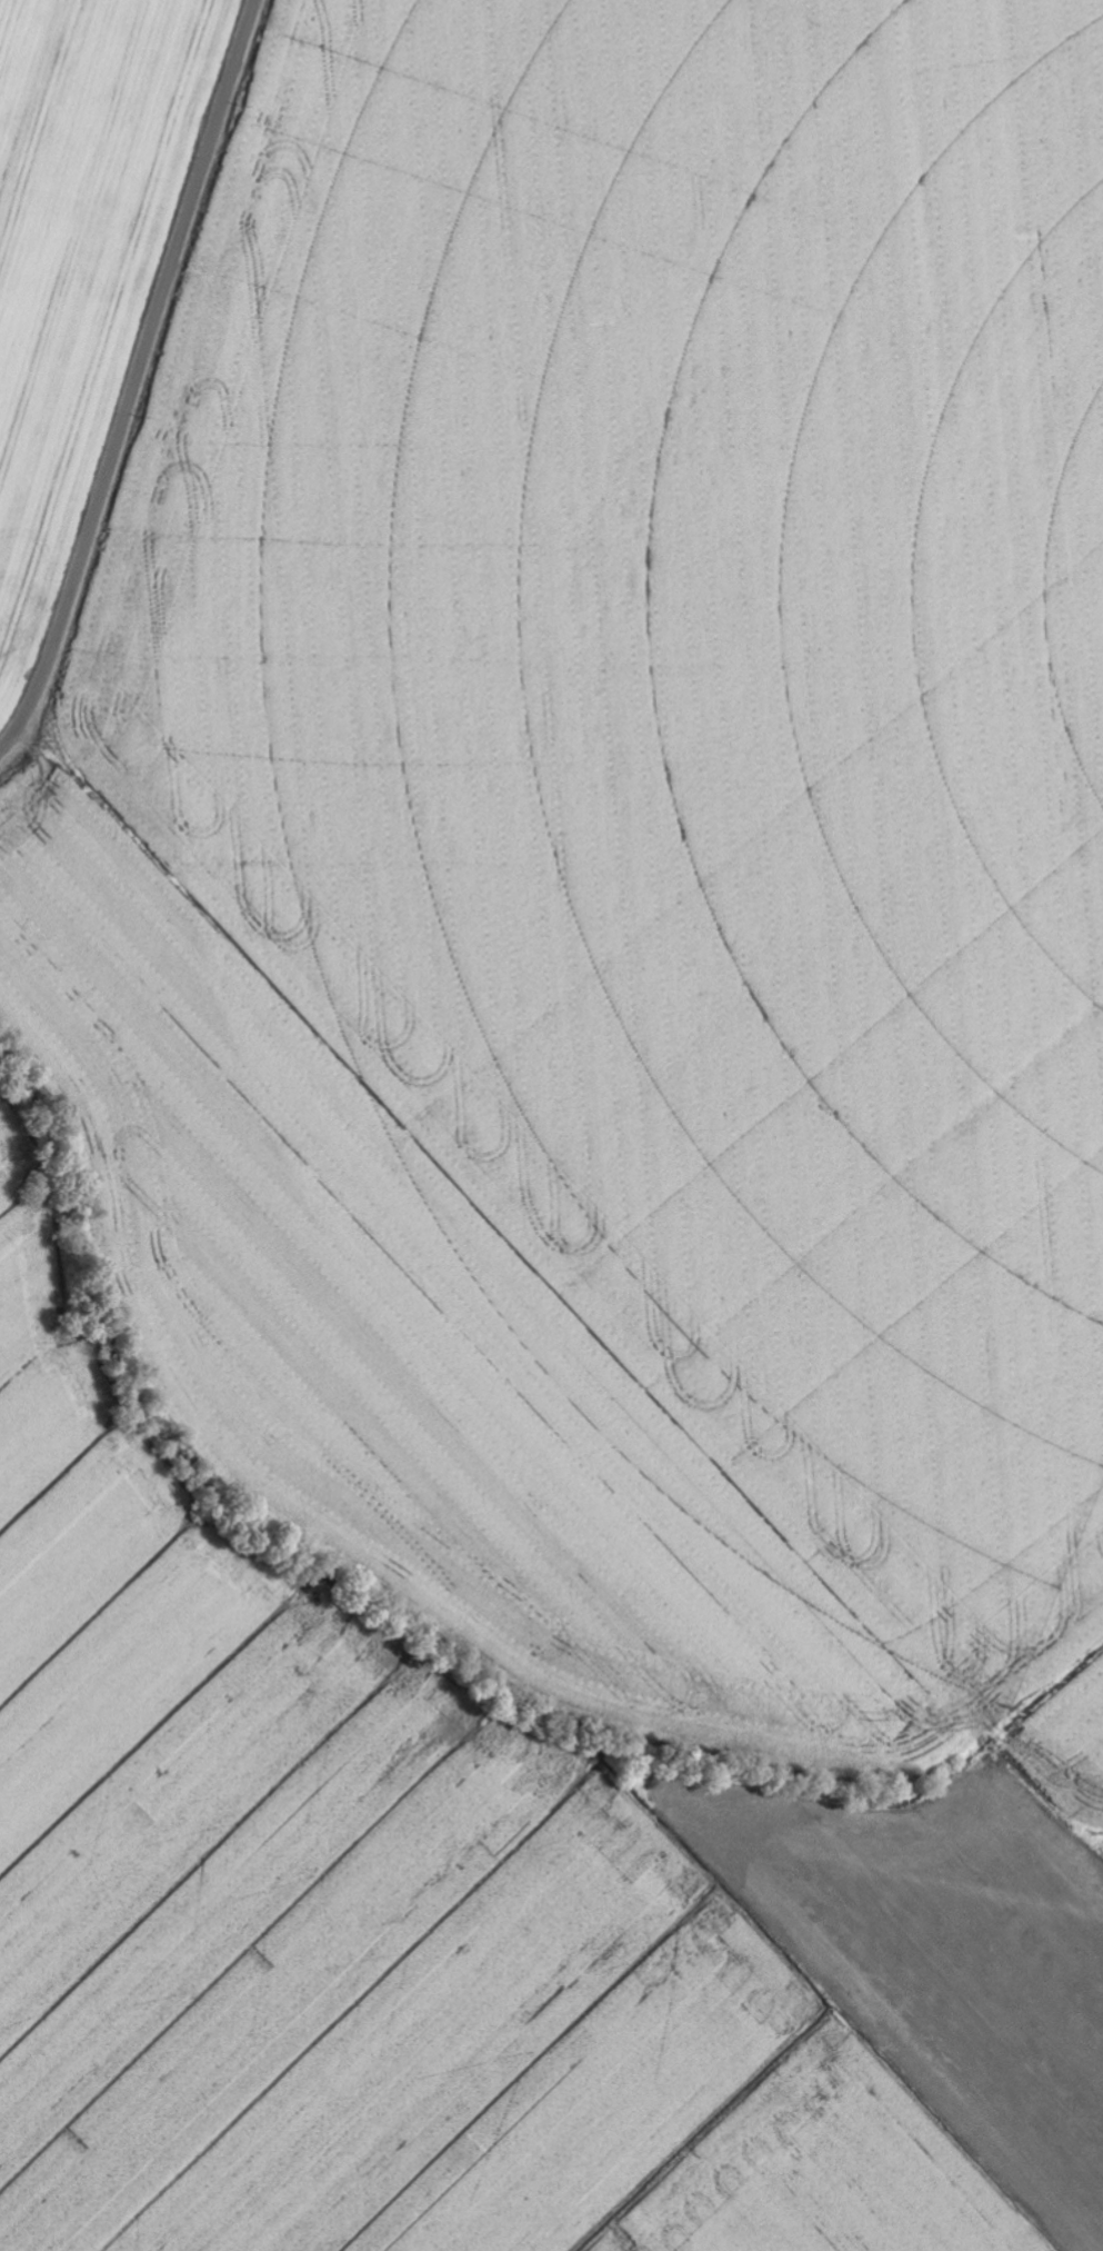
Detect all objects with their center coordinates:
road: (136, 378)

